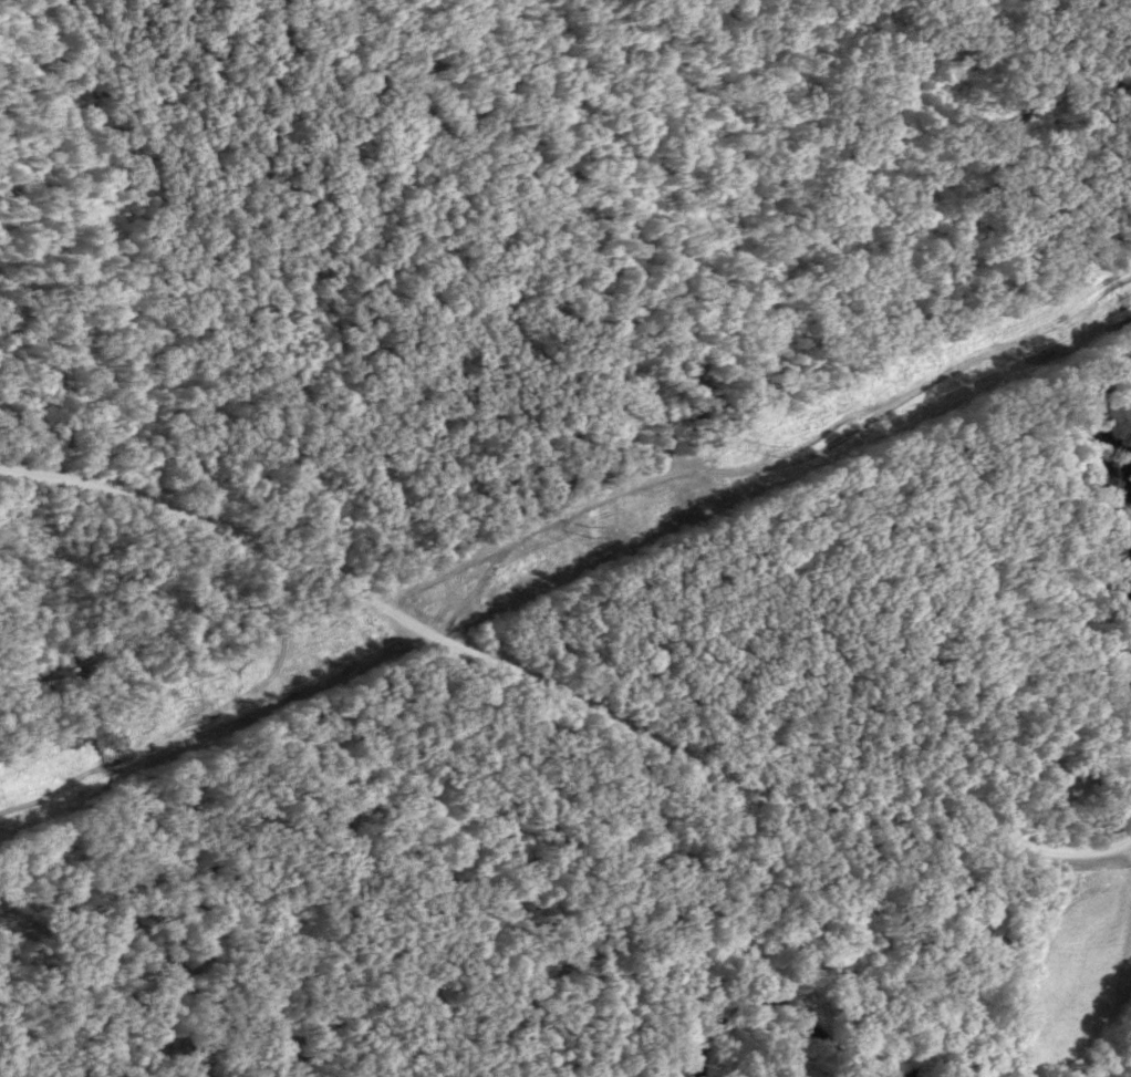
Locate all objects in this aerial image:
road: (770, 459)
road: (558, 691)
road: (214, 724)

